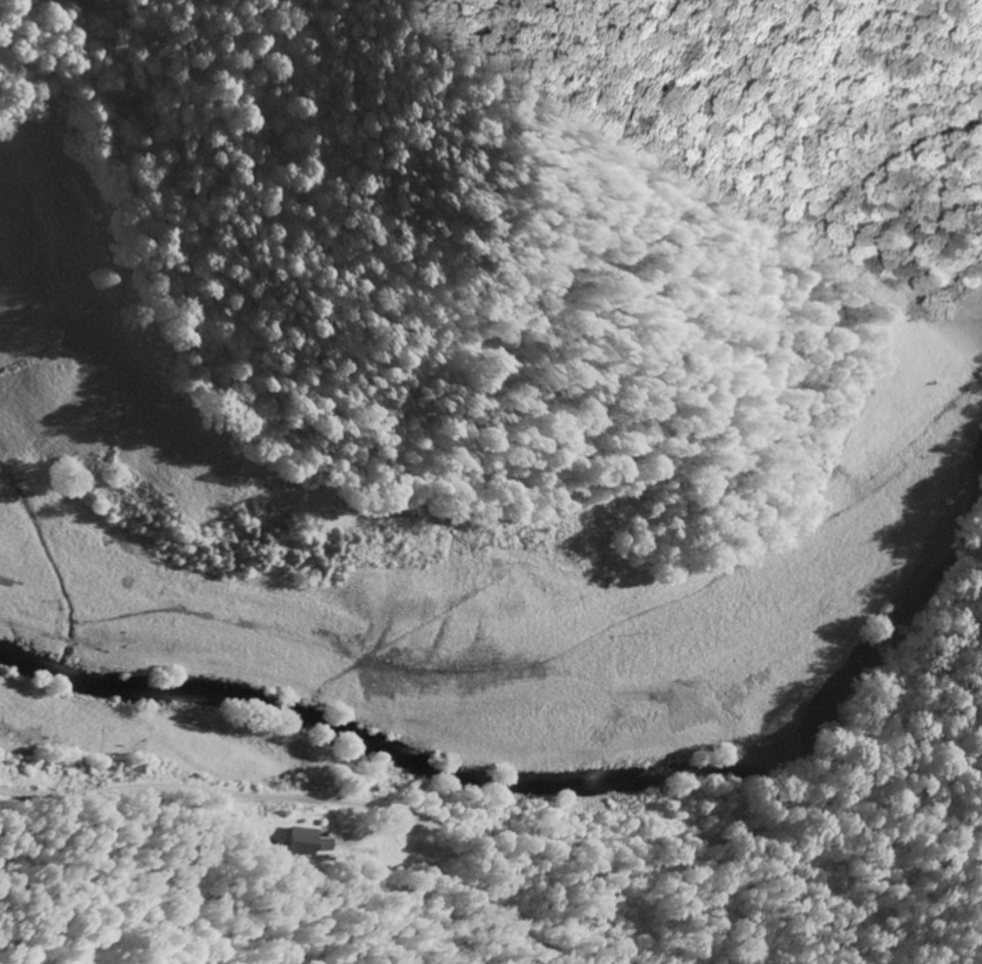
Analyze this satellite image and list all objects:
road: (56, 576)
road: (176, 742)
road: (516, 840)

